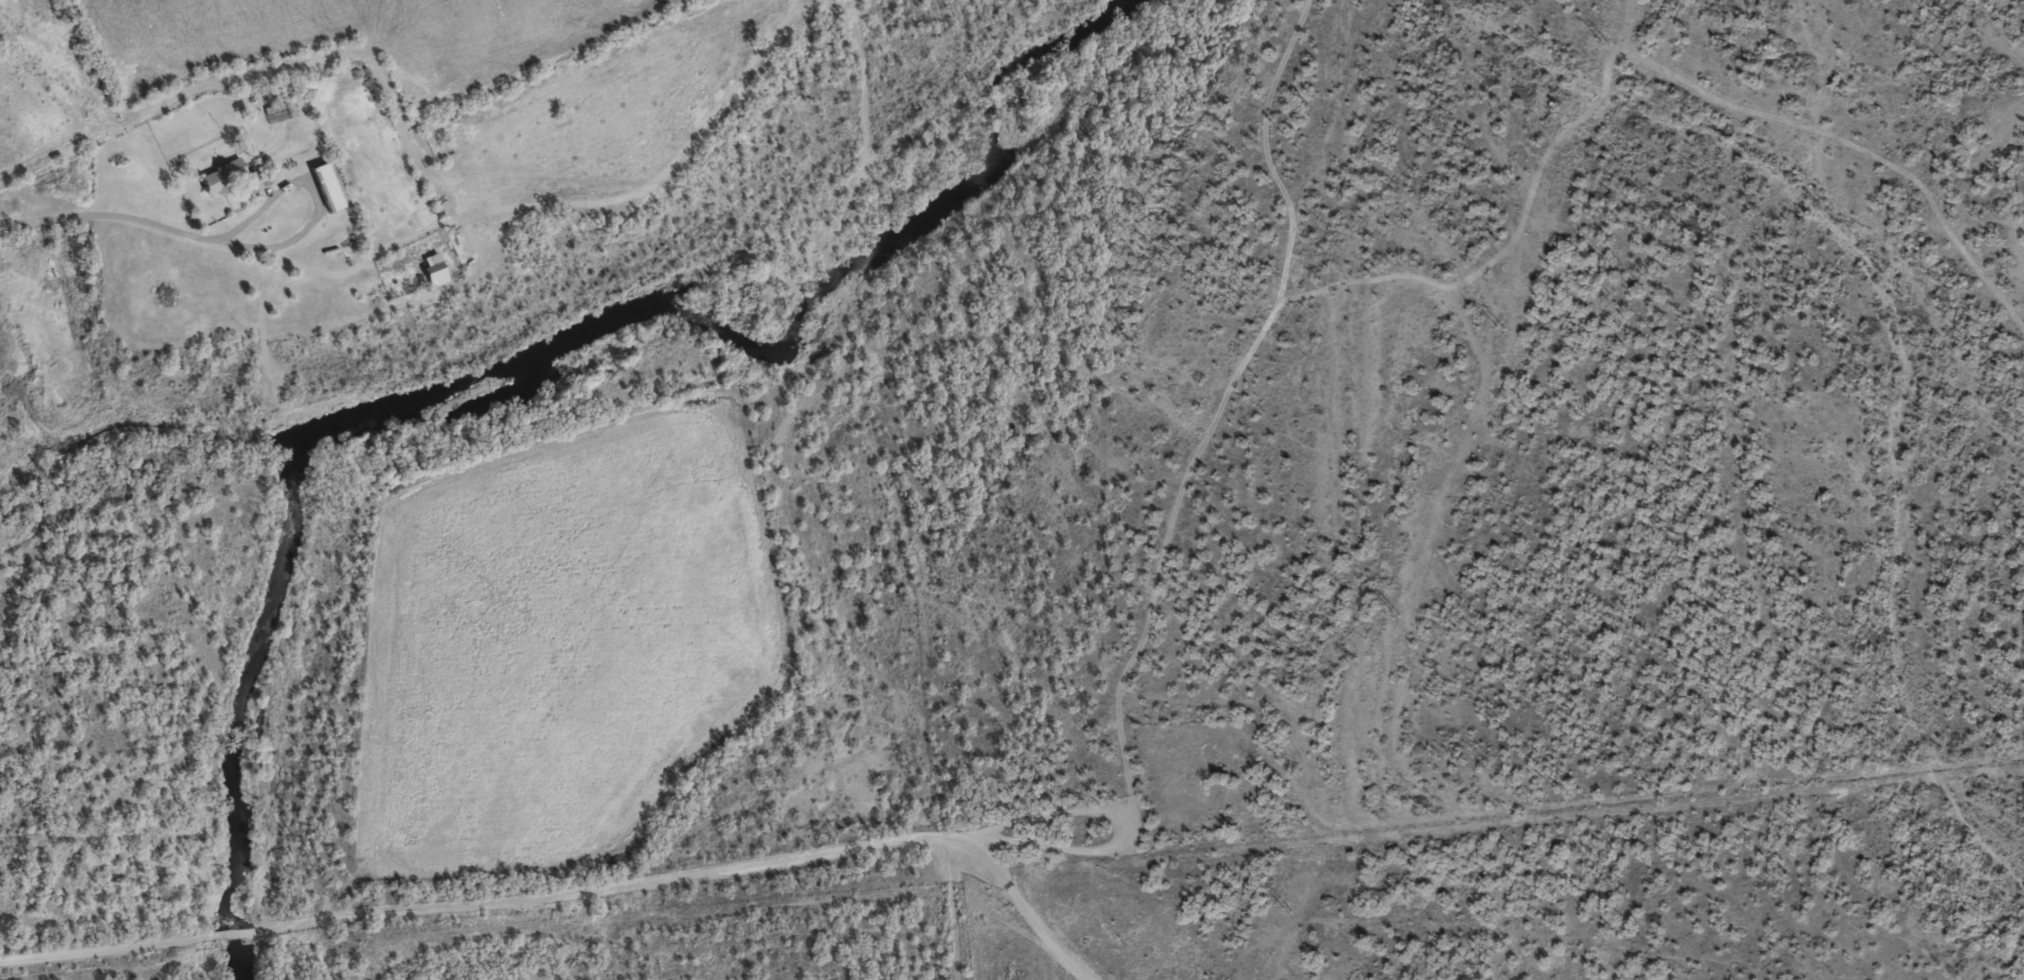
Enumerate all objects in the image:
power tower: (1606, 42)
building: (238, 175)
building: (332, 186)
building: (325, 195)
road: (124, 225)
road: (1279, 254)
building: (437, 268)
building: (432, 278)
power tower: (1501, 327)
power tower: (1395, 613)
park: (1196, 776)
road: (1040, 798)
road: (558, 894)
power tower: (1287, 909)
road: (954, 945)

